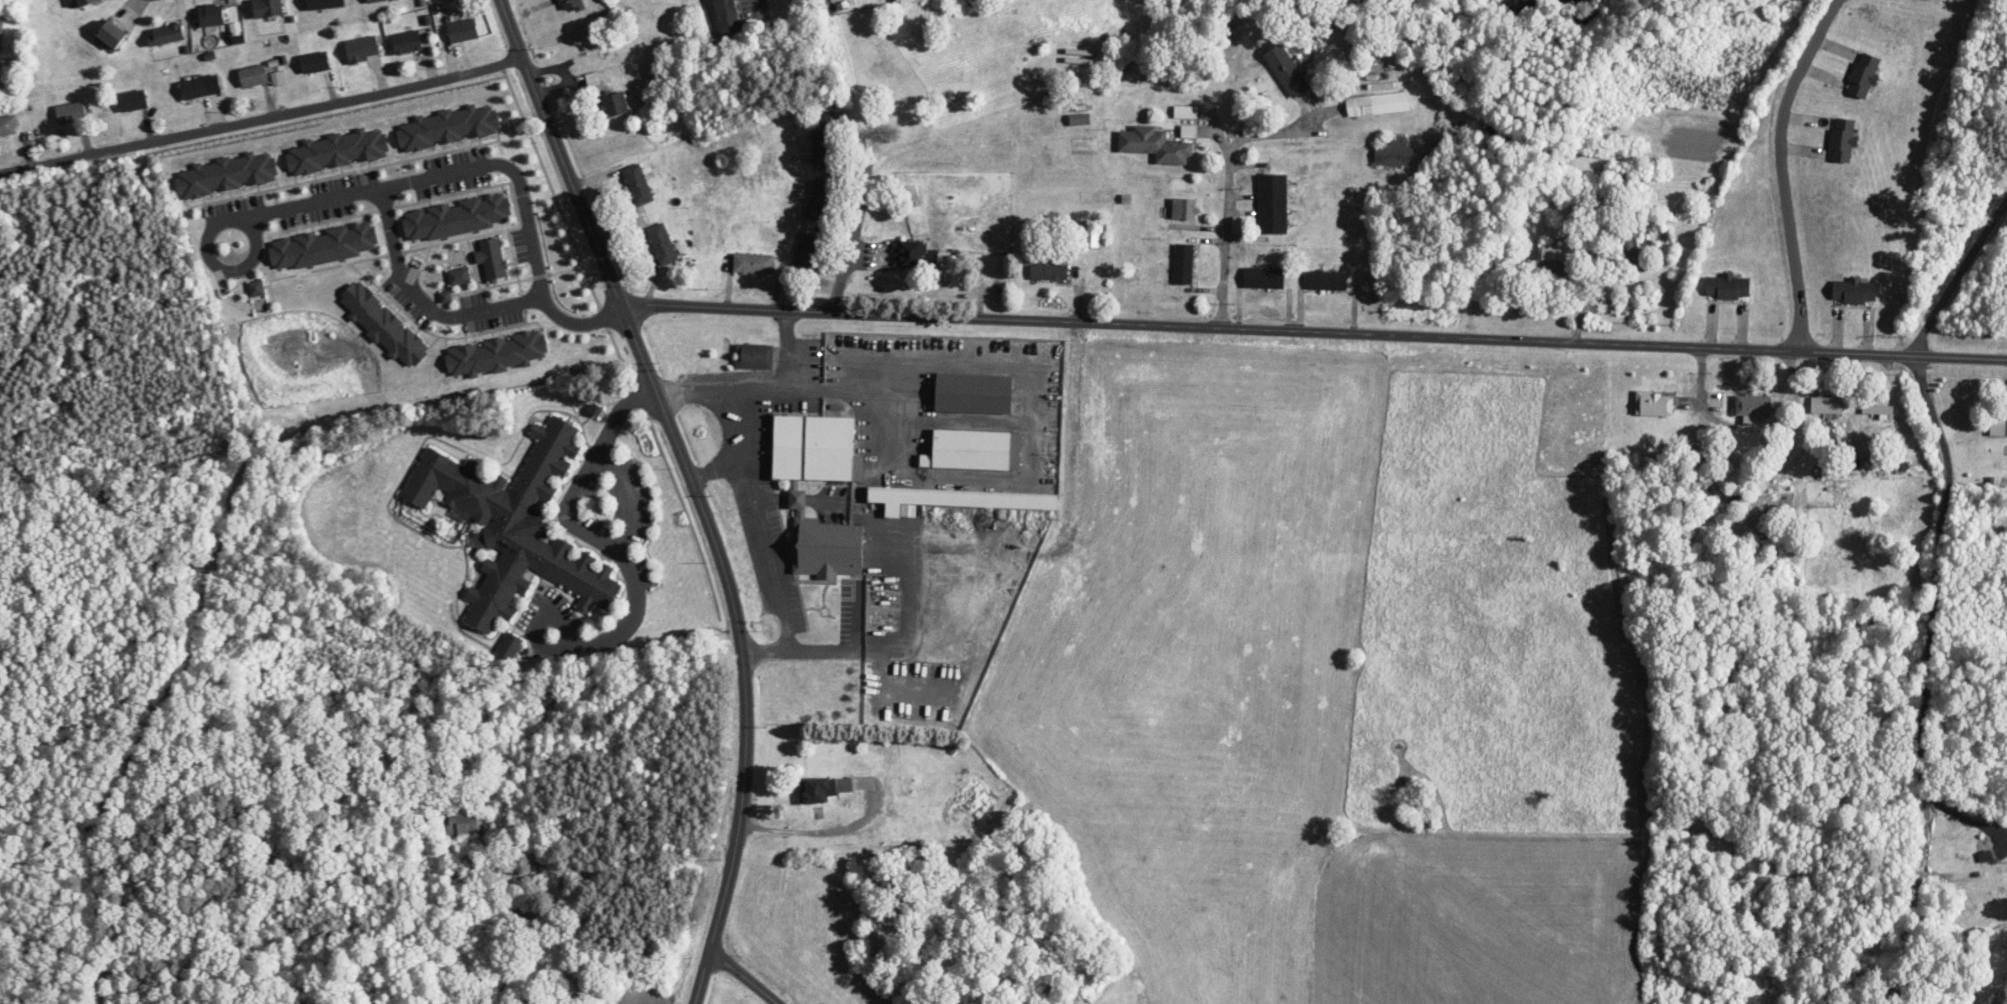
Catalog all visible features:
building: (373, 1)
building: (86, 2)
building: (570, 5)
building: (268, 8)
road: (758, 11)
building: (212, 15)
building: (728, 18)
building: (463, 30)
building: (1, 32)
building: (113, 34)
building: (168, 34)
building: (407, 42)
building: (315, 63)
building: (1287, 71)
building: (1864, 75)
building: (254, 76)
building: (195, 89)
building: (133, 101)
building: (615, 103)
building: (1379, 104)
building: (71, 113)
road: (262, 114)
building: (8, 126)
building: (1189, 131)
building: (1843, 140)
building: (823, 142)
building: (1156, 145)
building: (1394, 154)
road: (865, 160)
road: (474, 161)
road: (1783, 169)
building: (638, 184)
road: (1229, 199)
building: (820, 200)
building: (1273, 204)
building: (1184, 208)
building: (1095, 236)
building: (662, 244)
road: (846, 250)
building: (1633, 253)
road: (602, 254)
building: (805, 254)
building: (914, 255)
building: (1555, 260)
building: (754, 264)
building: (1184, 264)
building: (1049, 272)
road: (1951, 273)
building: (1264, 278)
building: (1328, 280)
building: (1728, 287)
building: (1855, 291)
road: (418, 296)
building: (1609, 306)
road: (1314, 330)
building: (754, 357)
road: (765, 391)
road: (841, 392)
building: (975, 394)
building: (1654, 404)
building: (1827, 405)
building: (1754, 406)
building: (1878, 410)
building: (975, 450)
road: (715, 466)
road: (1925, 477)
road: (1804, 483)
road: (762, 496)
road: (786, 497)
building: (963, 498)
building: (798, 500)
building: (516, 523)
road: (571, 523)
road: (792, 646)
road: (762, 649)
road: (1936, 677)
road: (745, 756)
building: (824, 789)
building: (974, 797)
road: (1967, 819)
building: (464, 823)
road: (814, 833)
building: (1988, 891)
building: (510, 918)
road: (742, 978)

